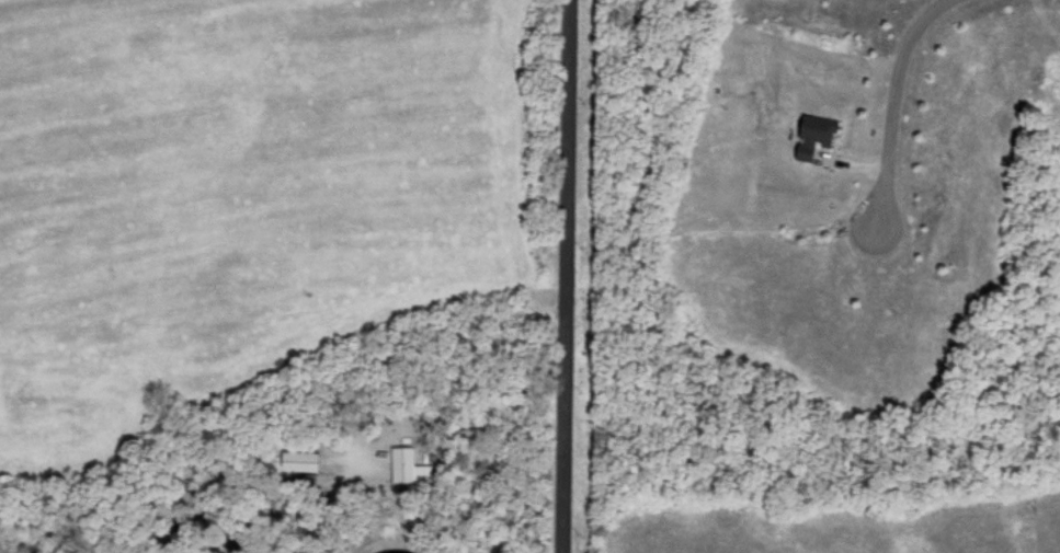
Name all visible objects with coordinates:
road: (891, 104)
building: (816, 135)
road: (565, 276)
road: (273, 404)
building: (300, 459)
building: (401, 462)

